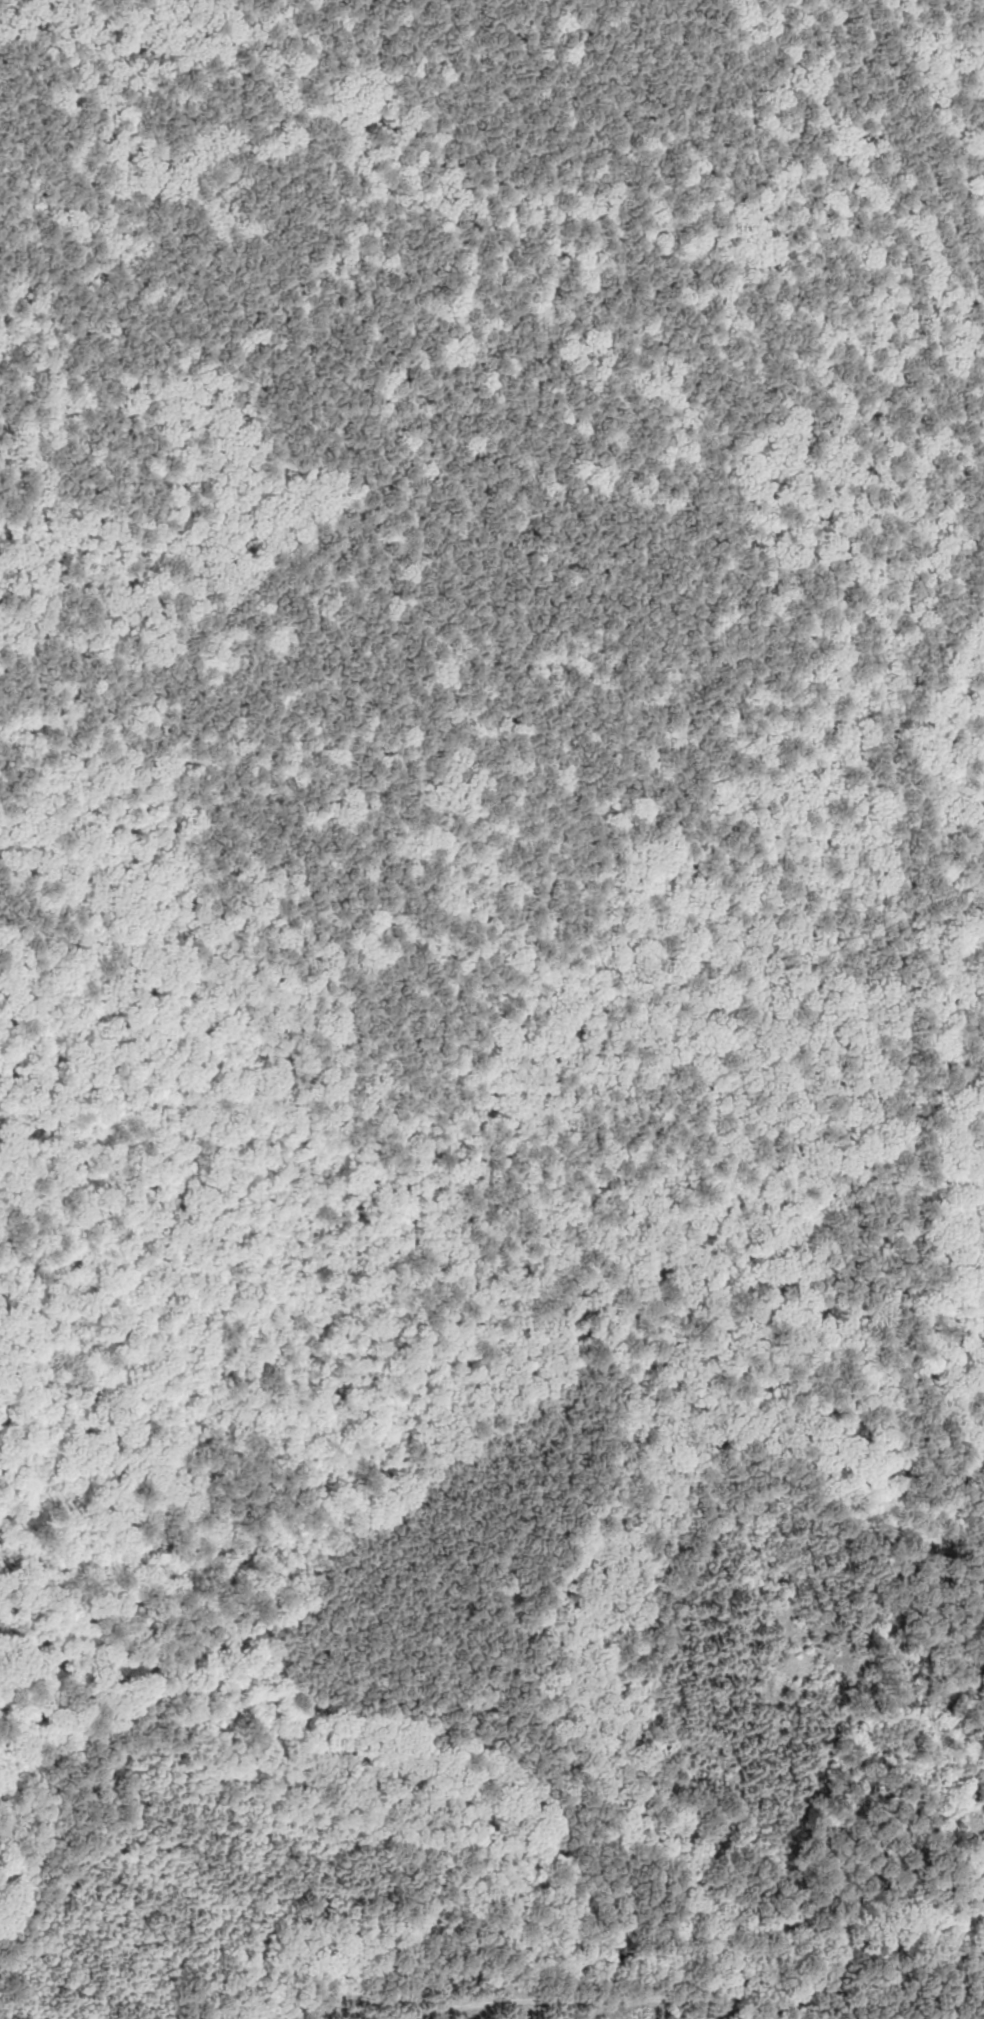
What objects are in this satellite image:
road: (936, 130)
road: (447, 457)
road: (951, 824)
park: (492, 1009)
road: (967, 1044)
road: (844, 1728)
road: (123, 1809)

